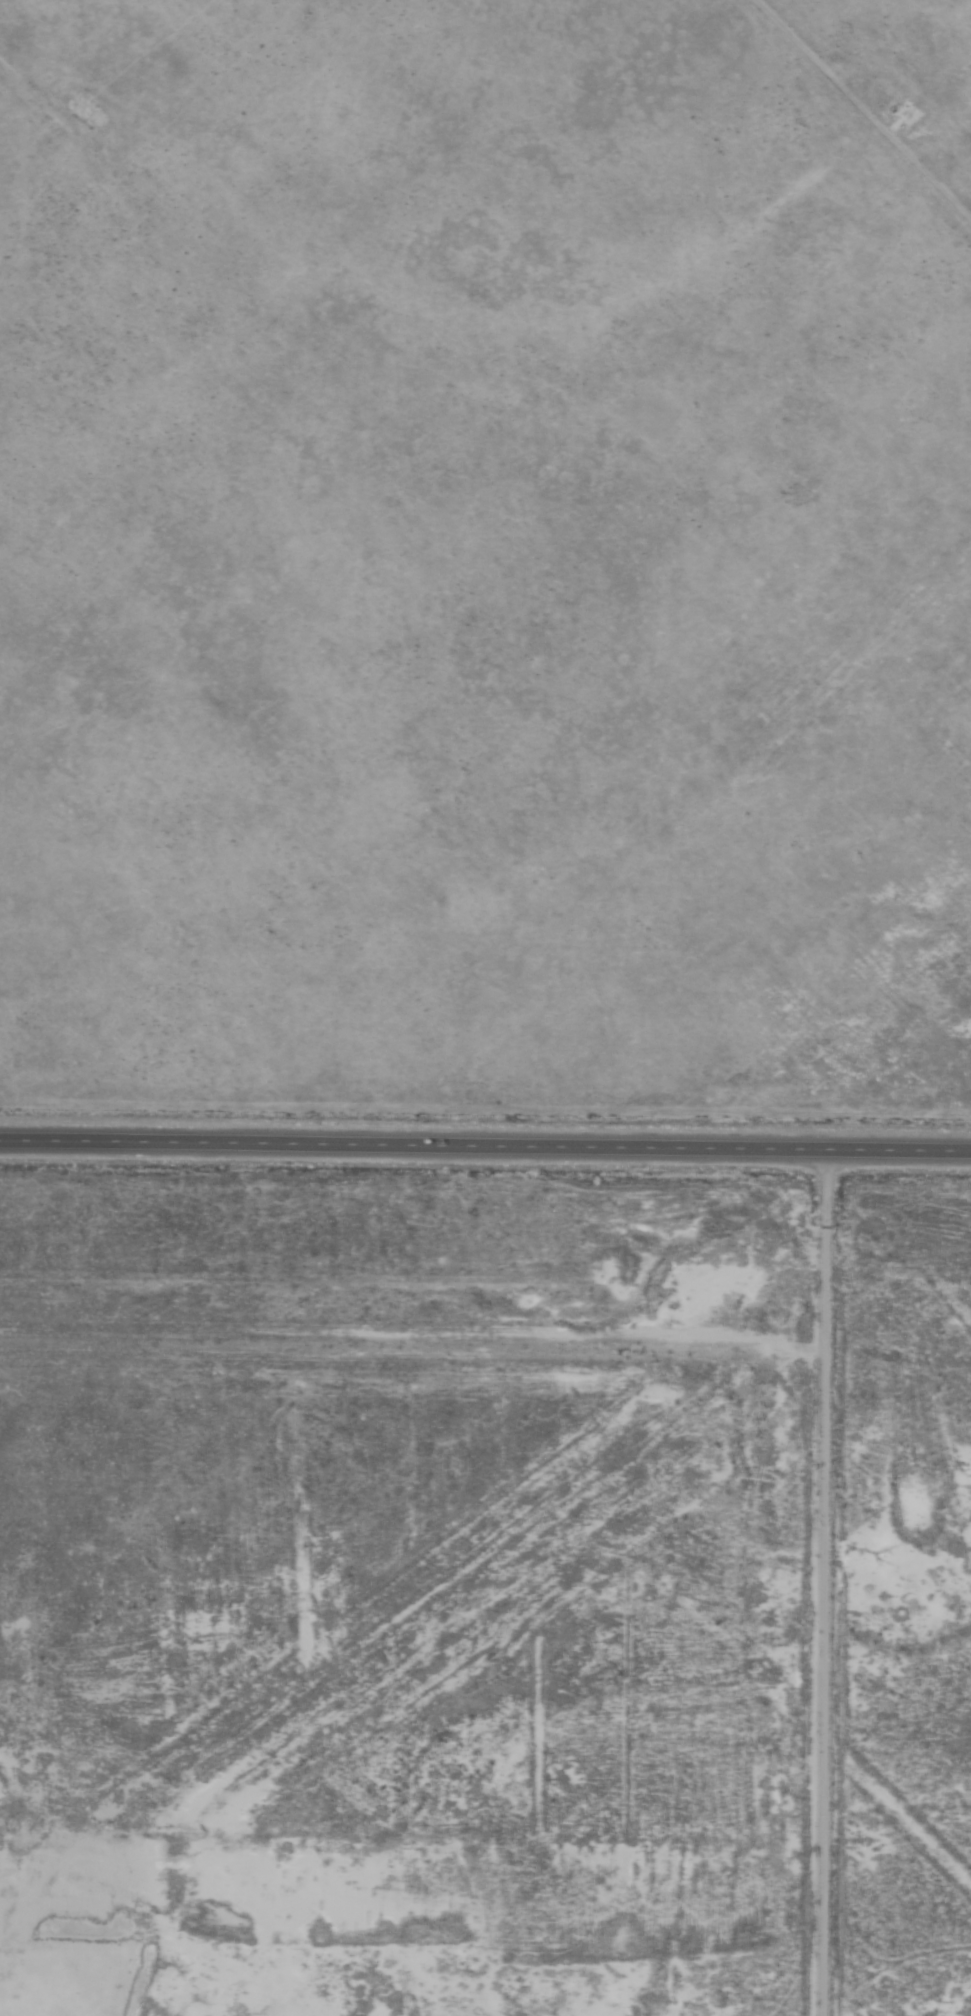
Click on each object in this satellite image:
road: (9, 69)
road: (861, 111)
road: (485, 1148)
road: (826, 1583)

